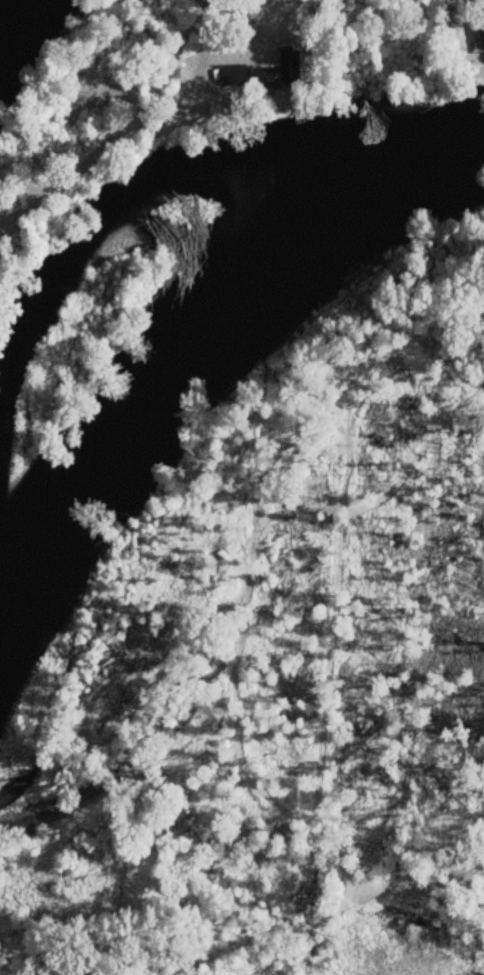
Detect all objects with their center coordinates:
river: (1, 3)
road: (202, 10)
building: (480, 40)
building: (268, 77)
road: (110, 132)
river: (208, 328)

